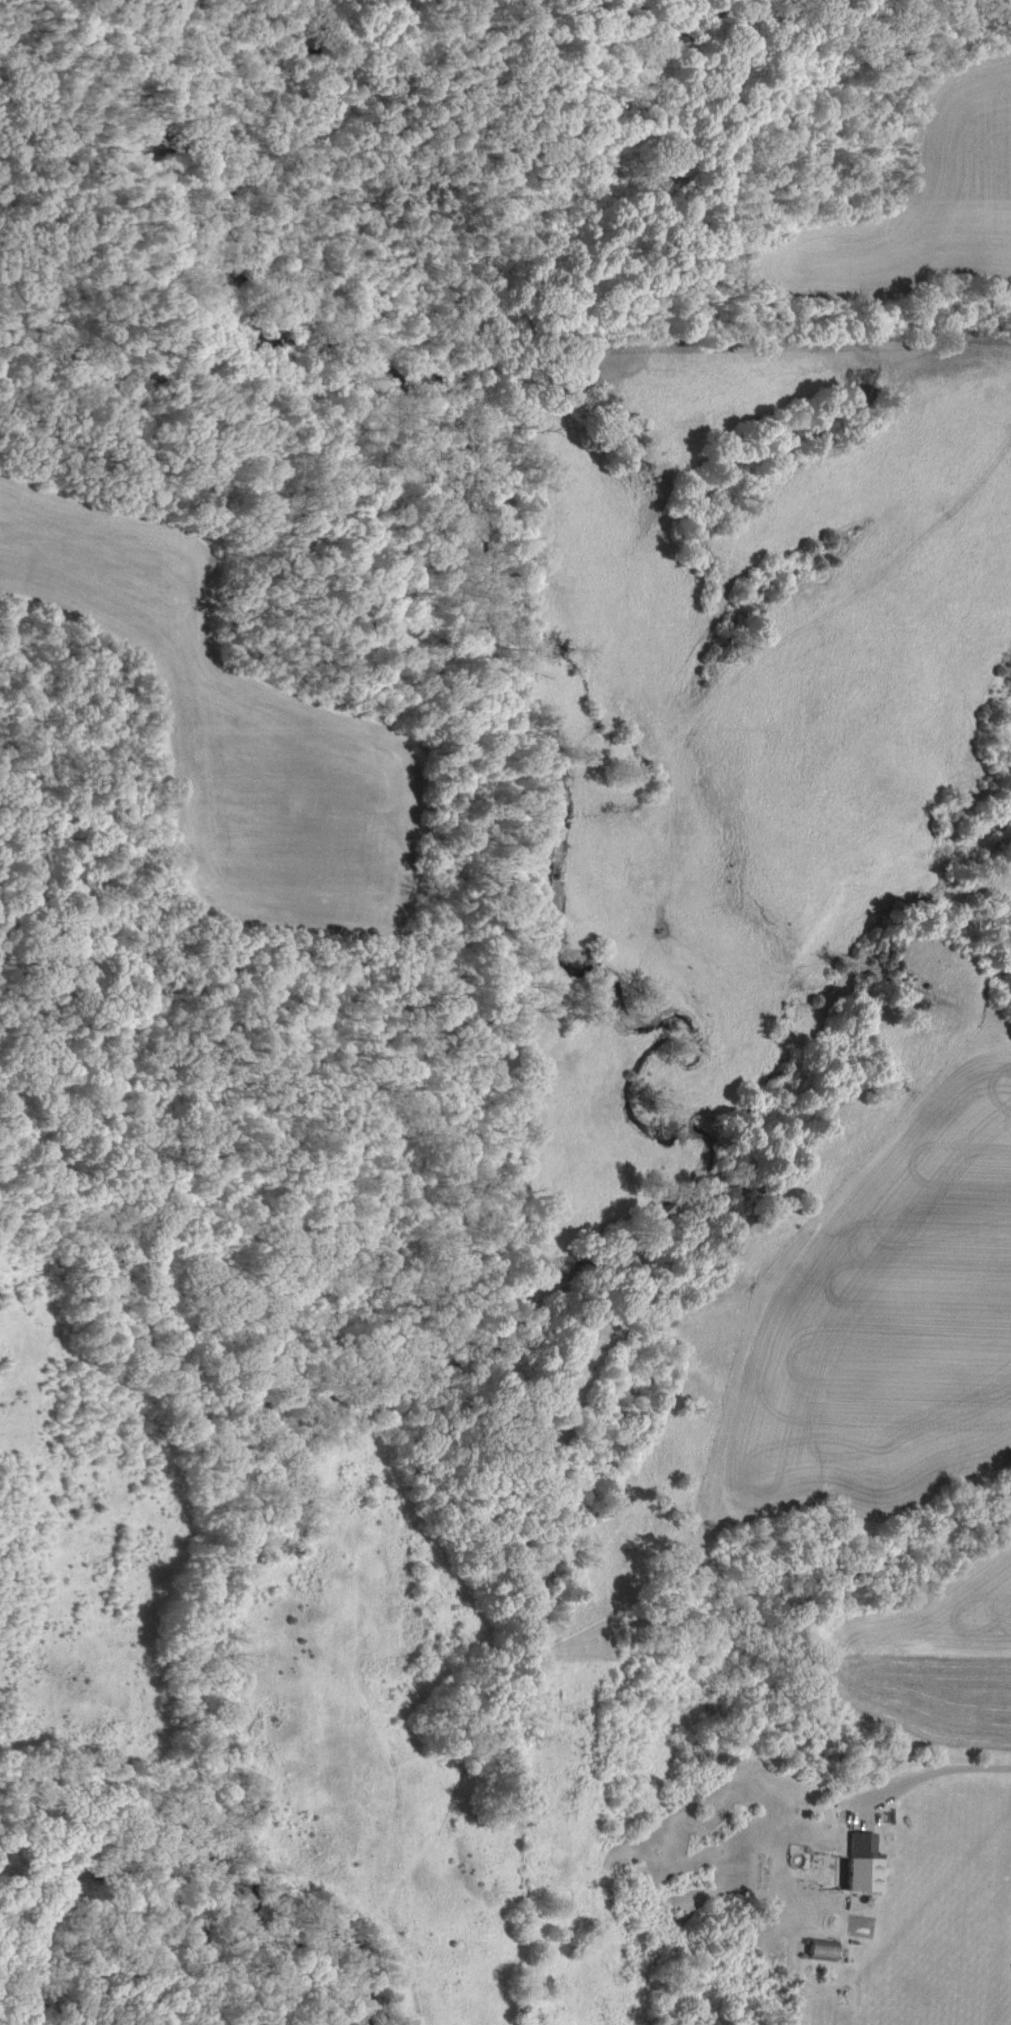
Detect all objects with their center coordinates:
road: (929, 1771)
building: (862, 1864)
building: (819, 1949)

